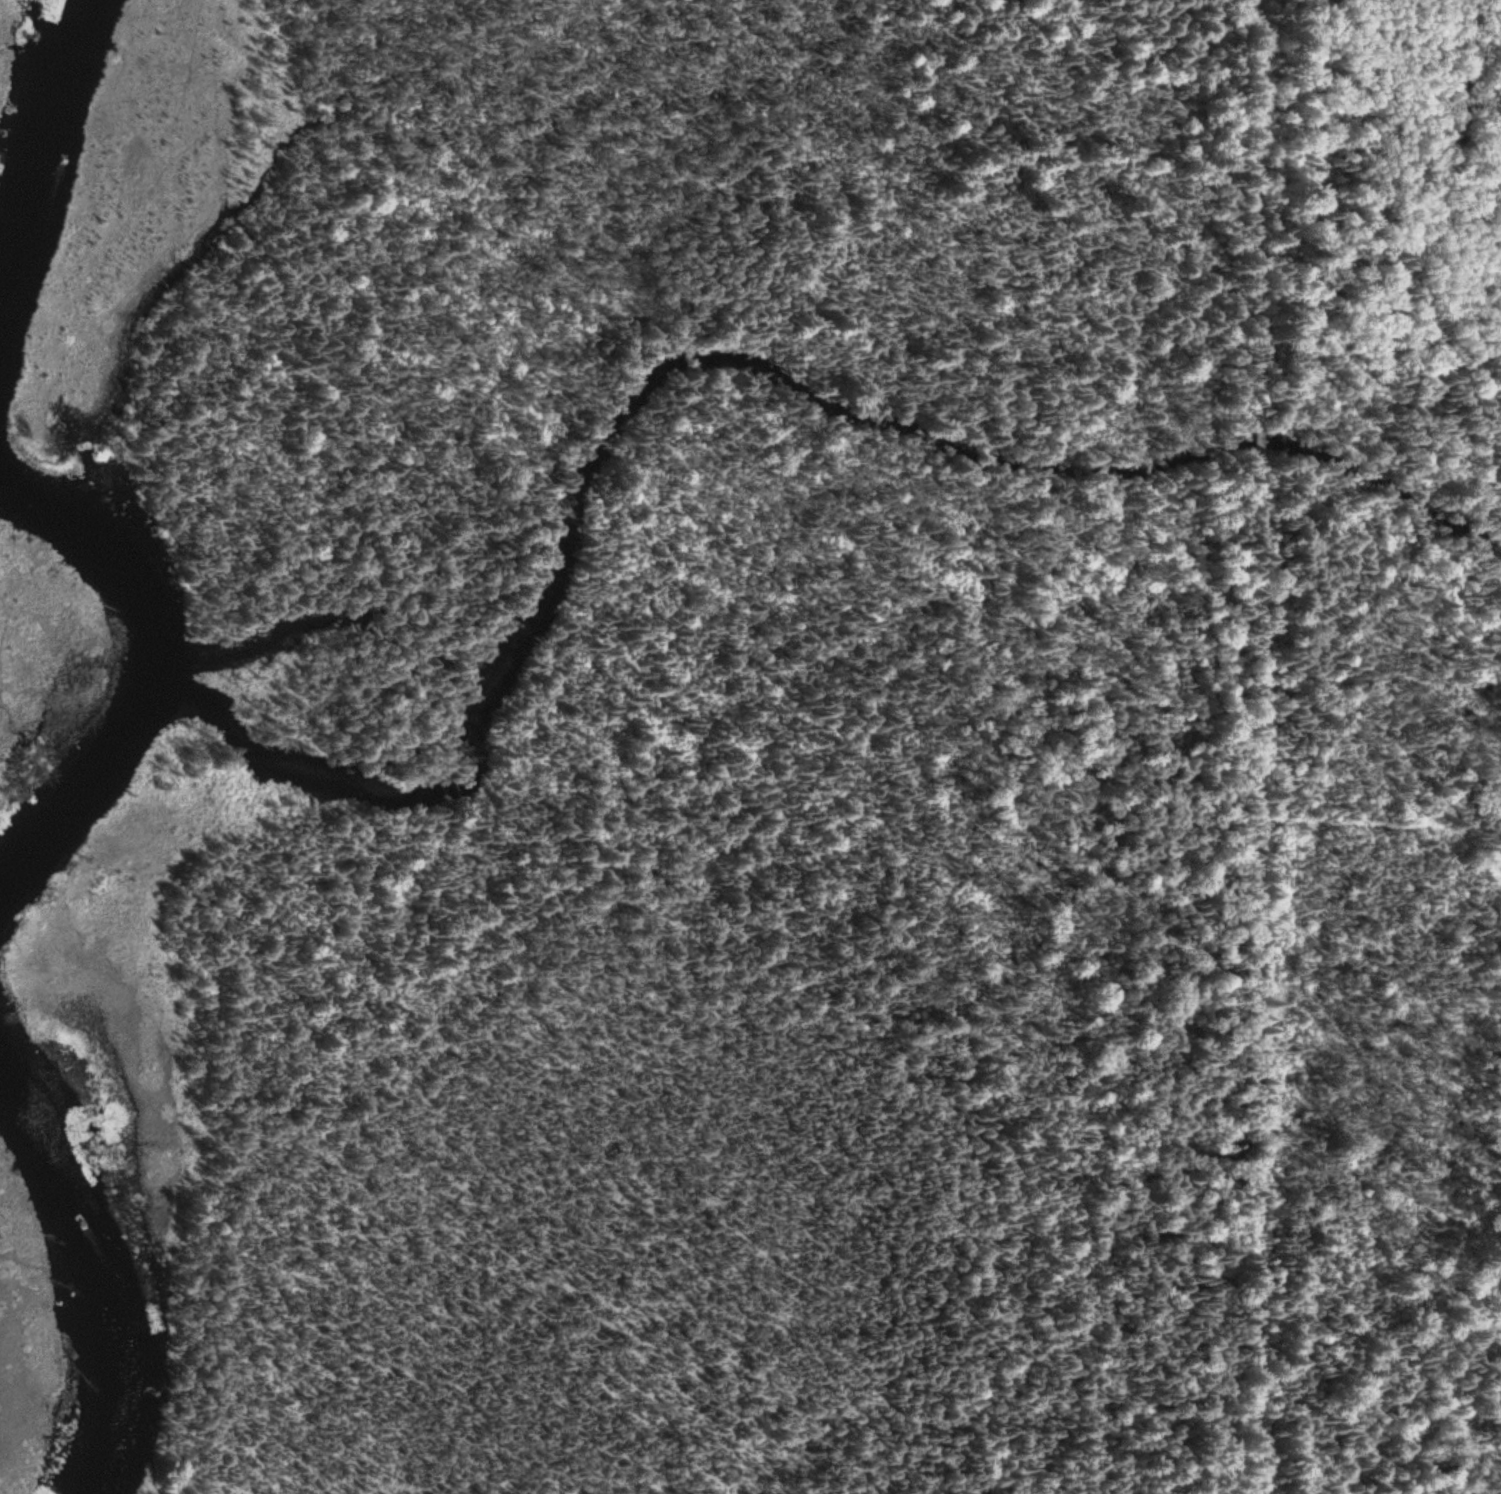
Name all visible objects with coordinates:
river: (46, 135)
road: (1261, 221)
building: (1262, 441)
road: (1261, 452)
river: (151, 655)
road: (1260, 978)
river: (88, 1262)

